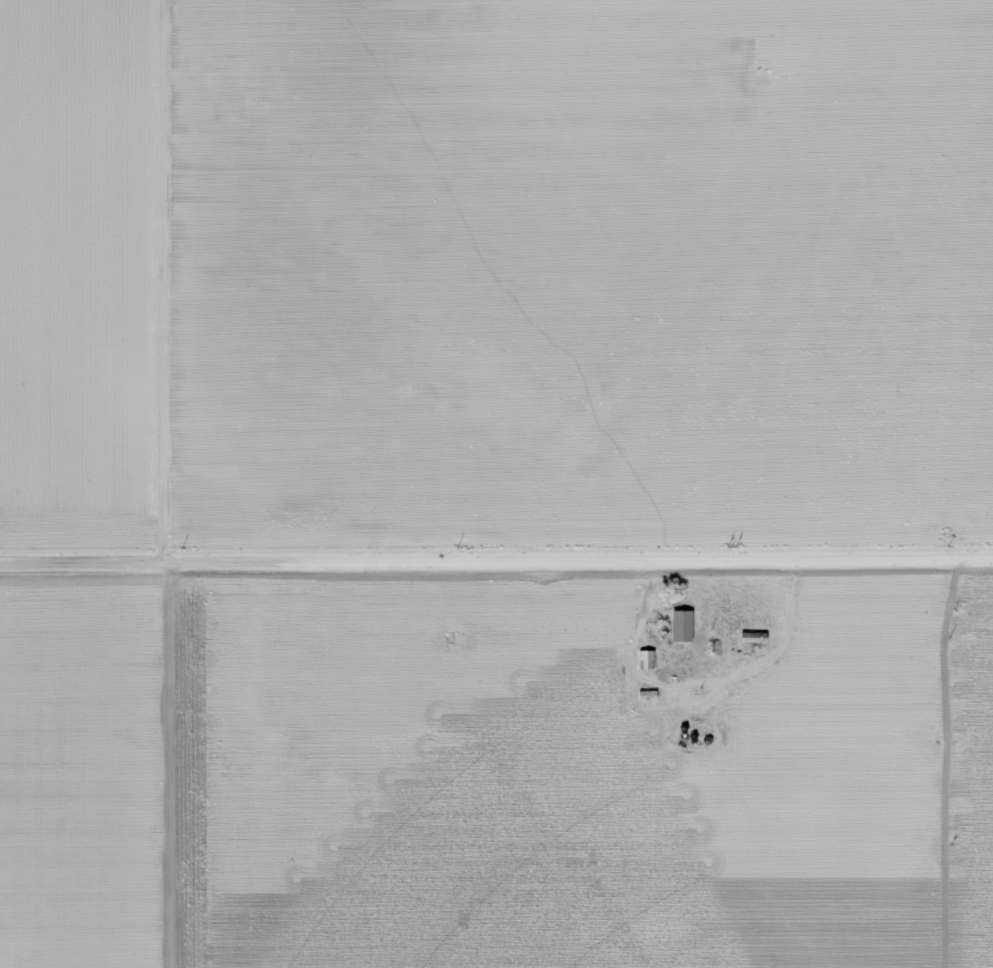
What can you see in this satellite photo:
road: (496, 564)

